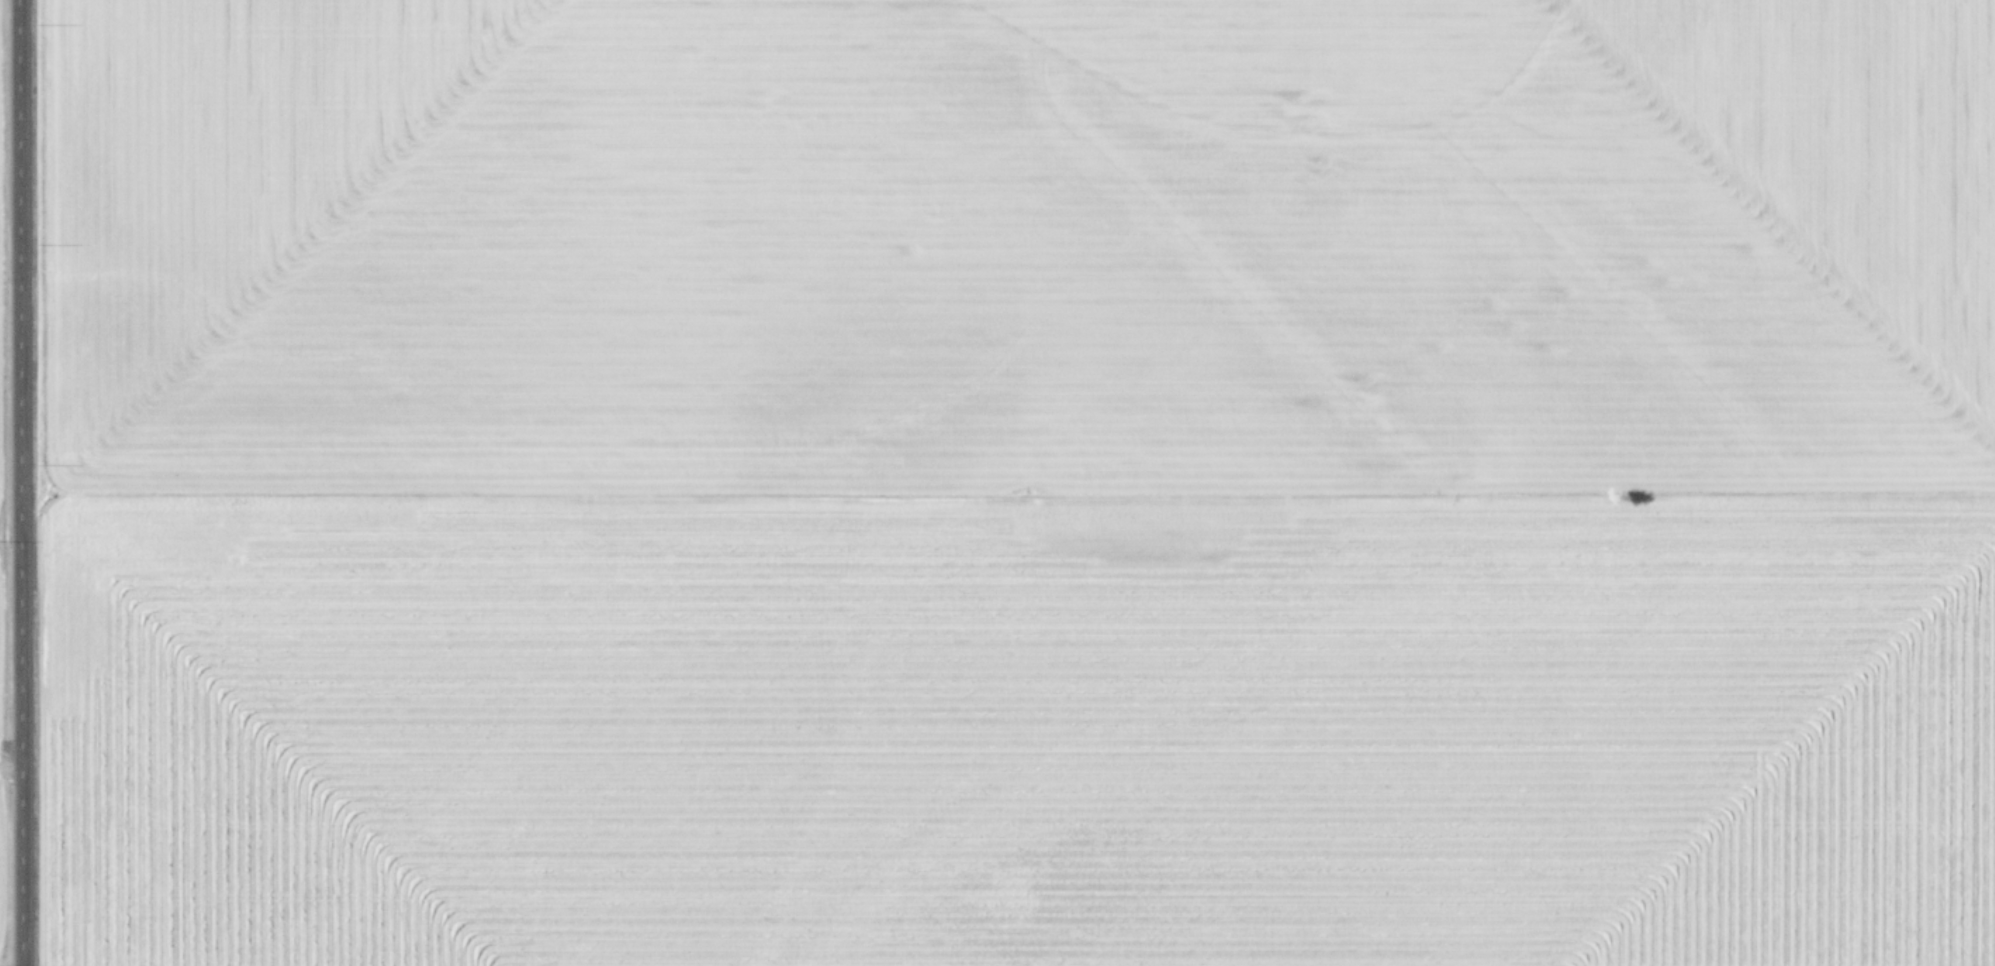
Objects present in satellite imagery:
road: (14, 482)
crop: (997, 483)

